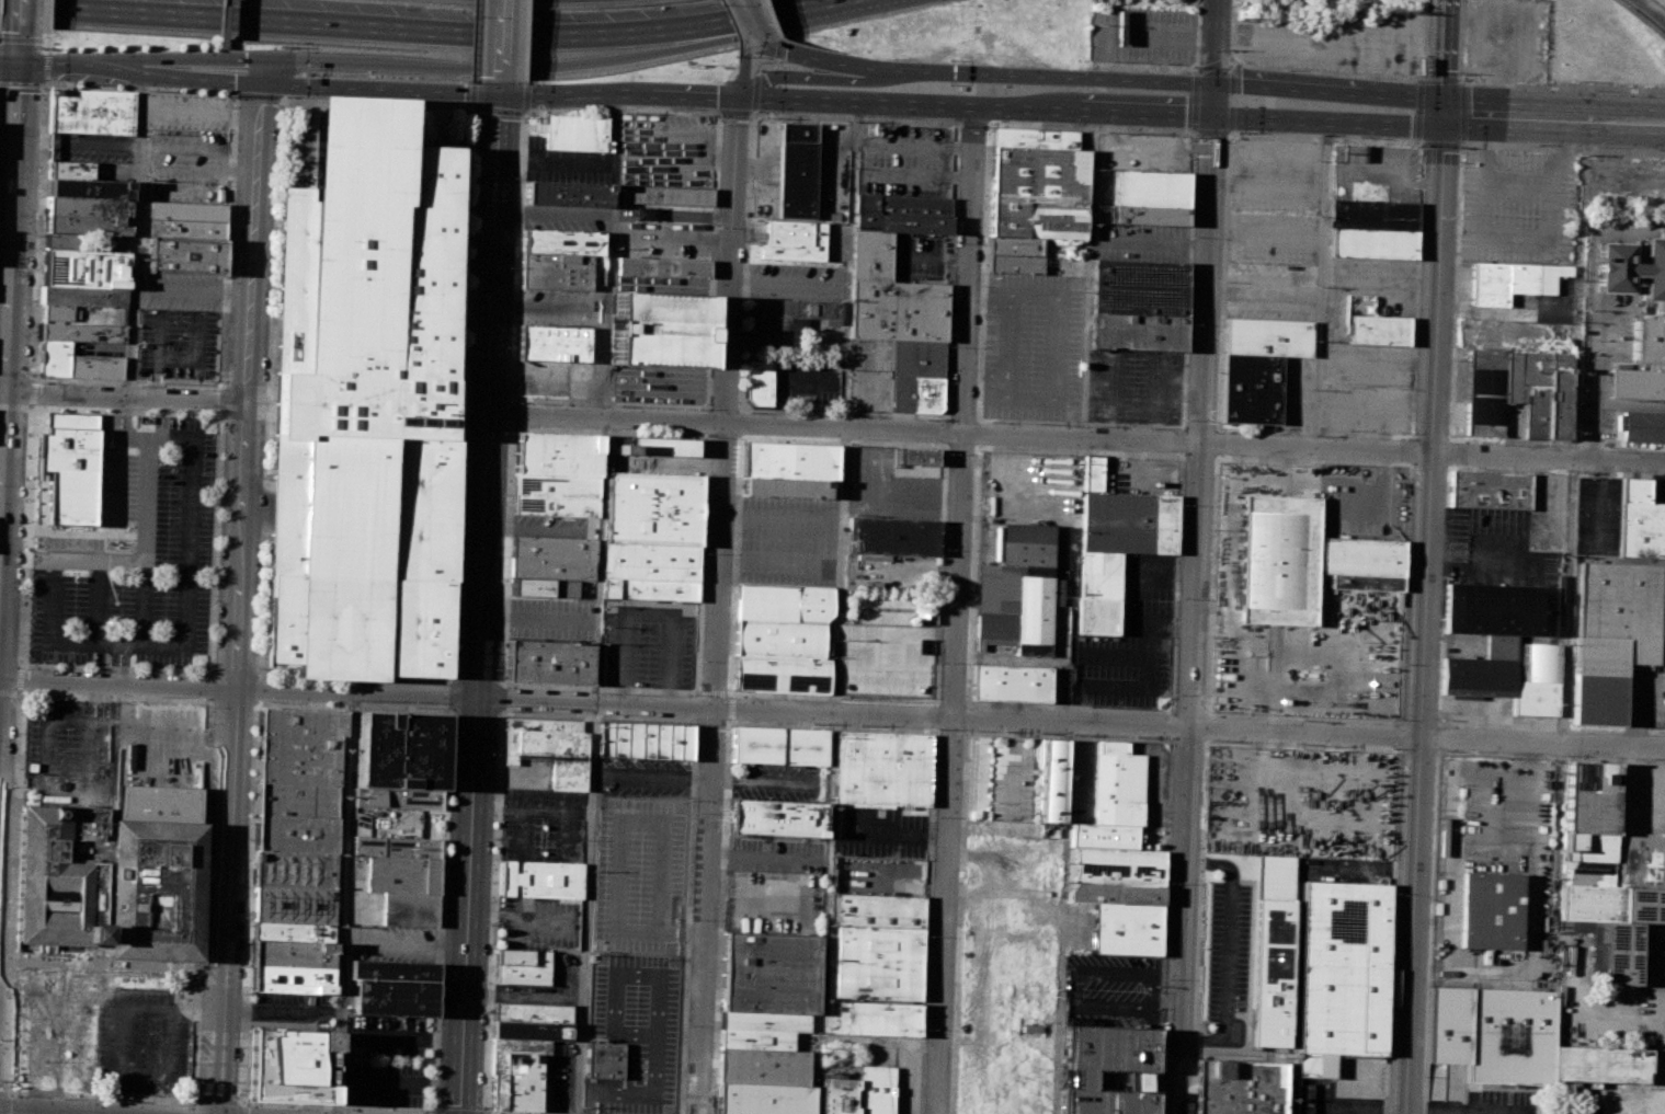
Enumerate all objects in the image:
road: (1650, 11)
road: (784, 12)
road: (18, 13)
road: (46, 14)
road: (773, 19)
road: (754, 20)
road: (752, 23)
road: (45, 27)
road: (361, 28)
parking lot: (1143, 34)
road: (1145, 35)
road: (1198, 37)
road: (20, 39)
road: (476, 39)
parking lot: (1501, 39)
road: (44, 41)
road: (48, 41)
road: (499, 41)
road: (527, 41)
traffic signals: (767, 41)
road: (1217, 42)
parking lot: (1336, 42)
street lamp: (43, 47)
road: (778, 48)
road: (50, 50)
road: (1444, 56)
traffic signals: (287, 59)
road: (406, 62)
road: (765, 62)
traffic signals: (16, 64)
road: (46, 66)
road: (869, 67)
road: (1147, 67)
road: (743, 71)
road: (275, 72)
road: (1336, 73)
road: (1095, 77)
road: (1234, 77)
road: (816, 79)
road: (248, 83)
traffic signals: (1214, 83)
road: (20, 84)
road: (45, 85)
traffic signals: (263, 85)
road: (1520, 85)
street lamp: (43, 88)
road: (498, 89)
road: (1332, 90)
road: (754, 92)
road: (236, 95)
road: (575, 95)
road: (259, 96)
traffic signals: (498, 96)
traffic signals: (738, 97)
road: (1213, 99)
road: (813, 101)
road: (1194, 101)
road: (376, 102)
road: (501, 108)
road: (1462, 110)
building: (91, 112)
road: (1094, 112)
road: (526, 113)
road: (720, 113)
road: (735, 113)
road: (752, 113)
traffic signals: (1444, 113)
traffic signals: (1213, 115)
road: (1554, 116)
road: (1330, 122)
road: (972, 123)
road: (1093, 127)
road: (1212, 133)
building: (574, 134)
road: (1326, 137)
road: (77, 140)
road: (1442, 143)
parking lot: (184, 147)
road: (1562, 148)
parking lot: (668, 150)
parking lot: (904, 159)
parking lot: (567, 164)
parking lot: (765, 169)
building: (68, 170)
building: (796, 170)
parking lot: (831, 170)
parking lot: (1375, 172)
building: (88, 188)
building: (1150, 188)
building: (569, 195)
building: (665, 195)
building: (1031, 197)
building: (87, 206)
parking lot: (1516, 207)
building: (186, 211)
building: (903, 214)
building: (1149, 215)
building: (1373, 215)
parking lot: (567, 219)
building: (87, 225)
building: (185, 229)
parking lot: (1271, 229)
parking lot: (663, 230)
street lamp: (35, 236)
road: (135, 238)
building: (792, 240)
building: (64, 241)
parking lot: (833, 241)
parking lot: (1139, 242)
building: (562, 243)
building: (1372, 243)
road: (9, 256)
building: (184, 256)
road: (609, 257)
parking lot: (921, 259)
road: (730, 260)
building: (662, 265)
building: (84, 268)
road: (969, 271)
building: (556, 272)
road: (1085, 275)
road: (1379, 277)
parking lot: (797, 280)
building: (1510, 280)
parking lot: (661, 283)
road: (1321, 286)
parking lot: (1368, 288)
building: (83, 297)
building: (892, 297)
parking lot: (1516, 301)
building: (1138, 305)
building: (82, 315)
parking lot: (1606, 315)
building: (785, 320)
parking lot: (178, 326)
building: (660, 328)
building: (1378, 330)
building: (82, 333)
building: (1646, 340)
building: (552, 343)
parking lot: (594, 343)
parking lot: (1030, 347)
building: (76, 363)
building: (1257, 366)
parking lot: (809, 367)
street lamp: (28, 375)
parking lot: (873, 375)
building: (919, 377)
building: (757, 381)
street lamp: (56, 382)
parking lot: (658, 382)
road: (221, 386)
parking lot: (1133, 386)
parking lot: (1367, 388)
building: (1538, 391)
road: (31, 392)
road: (459, 392)
parking lot: (1293, 392)
building: (1484, 392)
road: (1450, 394)
road: (125, 401)
road: (14, 405)
road: (122, 405)
building: (363, 405)
road: (709, 406)
street lamp: (163, 410)
road: (121, 413)
road: (946, 416)
road: (124, 421)
road: (117, 422)
road: (1082, 425)
building: (1641, 426)
road: (1571, 430)
road: (1314, 432)
road: (705, 435)
road: (1075, 438)
building: (658, 447)
building: (557, 455)
building: (917, 456)
building: (789, 461)
building: (71, 464)
building: (1091, 473)
parking lot: (1139, 475)
parking lot: (1280, 480)
parking lot: (887, 487)
building: (786, 489)
building: (1487, 490)
parking lot: (1655, 490)
building: (555, 494)
road: (147, 498)
building: (652, 508)
road: (779, 516)
parking lot: (1595, 516)
building: (1639, 521)
parking lot: (554, 526)
building: (891, 536)
road: (25, 537)
road: (187, 537)
road: (215, 541)
parking lot: (787, 541)
building: (1116, 548)
parking lot: (1493, 549)
road: (64, 556)
building: (552, 558)
parking lot: (134, 562)
road: (597, 562)
building: (650, 562)
building: (1303, 562)
road: (779, 563)
road: (1481, 565)
building: (543, 587)
building: (649, 589)
building: (1017, 589)
road: (241, 599)
road: (96, 600)
road: (481, 605)
building: (1498, 608)
road: (837, 609)
parking lot: (1660, 610)
road: (1426, 613)
road: (1194, 615)
parking lot: (549, 620)
building: (783, 620)
street lamp: (20, 632)
building: (1608, 635)
parking lot: (1129, 640)
parking lot: (647, 642)
road: (115, 657)
road: (124, 659)
parking lot: (888, 661)
building: (548, 663)
building: (1507, 674)
building: (782, 675)
road: (118, 677)
road: (21, 678)
building: (1010, 682)
street lamp: (27, 691)
road: (10, 692)
road: (712, 692)
street lamp: (159, 696)
road: (448, 697)
road: (183, 700)
road: (935, 700)
road: (728, 707)
parking lot: (1487, 710)
road: (832, 714)
road: (595, 717)
road: (825, 725)
street lamp: (15, 733)
road: (1064, 736)
building: (645, 739)
building: (300, 745)
road: (1298, 745)
building: (779, 746)
building: (551, 747)
building: (399, 750)
road: (709, 768)
building: (881, 768)
parking lot: (526, 770)
road: (951, 773)
parking lot: (643, 774)
parking lot: (1022, 780)
parking lot: (777, 781)
building: (1051, 781)
parking lot: (1152, 781)
parking lot: (1083, 782)
building: (1118, 784)
street lamp: (13, 797)
building: (398, 797)
parking lot: (1639, 799)
building: (297, 800)
road: (532, 808)
road: (443, 814)
building: (777, 817)
road: (1433, 817)
parking lot: (396, 822)
parking lot: (541, 825)
parking lot: (879, 830)
building: (296, 832)
building: (395, 847)
road: (617, 847)
road: (767, 857)
building: (1118, 866)
building: (295, 869)
building: (401, 874)
building: (111, 875)
parking lot: (877, 875)
building: (1607, 875)
building: (540, 878)
road: (753, 887)
building: (1115, 893)
street lamp: (10, 898)
building: (294, 904)
road: (345, 905)
building: (409, 909)
road: (584, 909)
building: (876, 910)
building: (1490, 910)
road: (1062, 919)
parking lot: (538, 923)
road: (517, 924)
parking lot: (383, 927)
parking lot: (1077, 928)
building: (1125, 929)
building: (293, 931)
road: (407, 940)
building: (1270, 951)
building: (293, 953)
parking lot: (1652, 954)
parking lot: (1228, 957)
building: (878, 964)
building: (521, 967)
parking lot: (562, 968)
building: (390, 971)
building: (771, 974)
building: (1342, 974)
building: (292, 979)
parking lot: (1110, 990)
street lamp: (5, 992)
road: (524, 996)
building: (392, 998)
road: (244, 999)
parking lot: (290, 1004)
road: (282, 1011)
building: (870, 1018)
building: (532, 1021)
building: (765, 1022)
parking lot: (639, 1024)
road: (403, 1036)
building: (757, 1040)
road: (878, 1041)
building: (1518, 1041)
building: (515, 1050)
parking lot: (877, 1056)
building: (604, 1058)
parking lot: (387, 1060)
building: (289, 1066)
building: (764, 1067)
building: (1107, 1069)
building: (1289, 1072)
street lamp: (2, 1080)
parking lot: (905, 1080)
road: (401, 1082)
building: (523, 1082)
parking lot: (557, 1083)
building: (1238, 1087)
parking lot: (1349, 1087)
building: (876, 1090)
street lamp: (238, 1091)
road: (2, 1092)
building: (499, 1092)
street lamp: (11, 1093)
parking lot: (603, 1094)
building: (839, 1095)
road: (217, 1099)
building: (764, 1099)
building: (1302, 1099)
street lamp: (101, 1100)
parking lot: (1485, 1102)
road: (3, 1103)
street lamp: (184, 1103)
road: (191, 1107)
road: (240, 1107)
street lamp: (484, 1109)
road: (1459, 1110)
road: (457, 1111)
parking lot: (1573, 1111)
road: (432, 1112)
road: (483, 1112)
road: (14, 1113)
road: (484, 1113)
road: (509, 1113)

